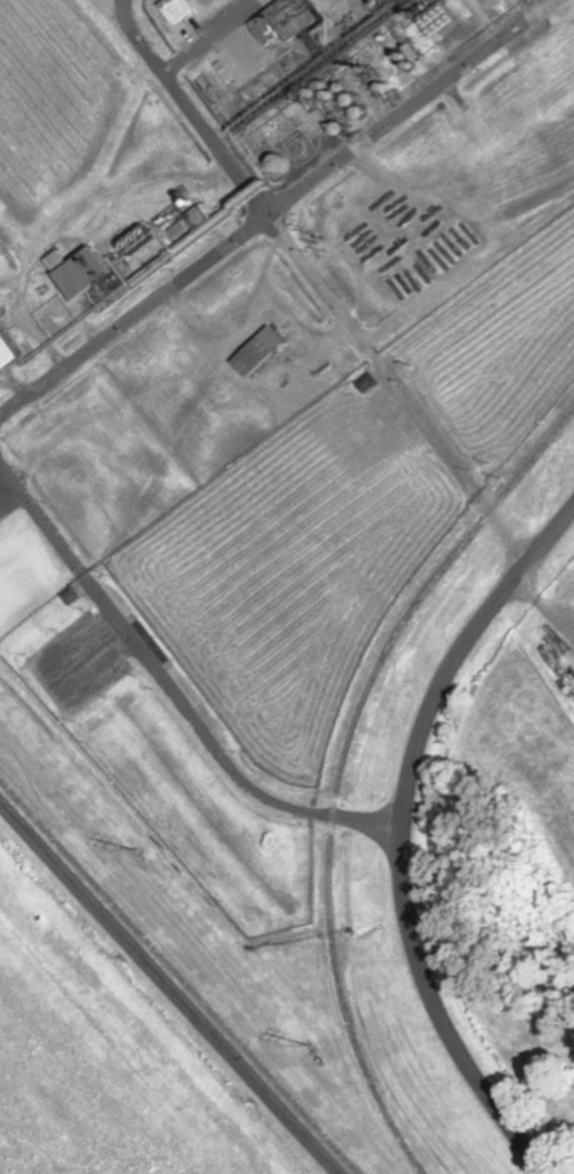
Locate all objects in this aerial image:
building: (173, 10)
building: (281, 23)
building: (545, 80)
road: (277, 211)
building: (133, 243)
building: (79, 271)
road: (317, 283)
building: (258, 351)
building: (7, 353)
road: (170, 691)
railway: (341, 765)
road: (401, 833)
power tower: (125, 846)
railway: (179, 978)
road: (170, 989)
power tower: (299, 1043)

